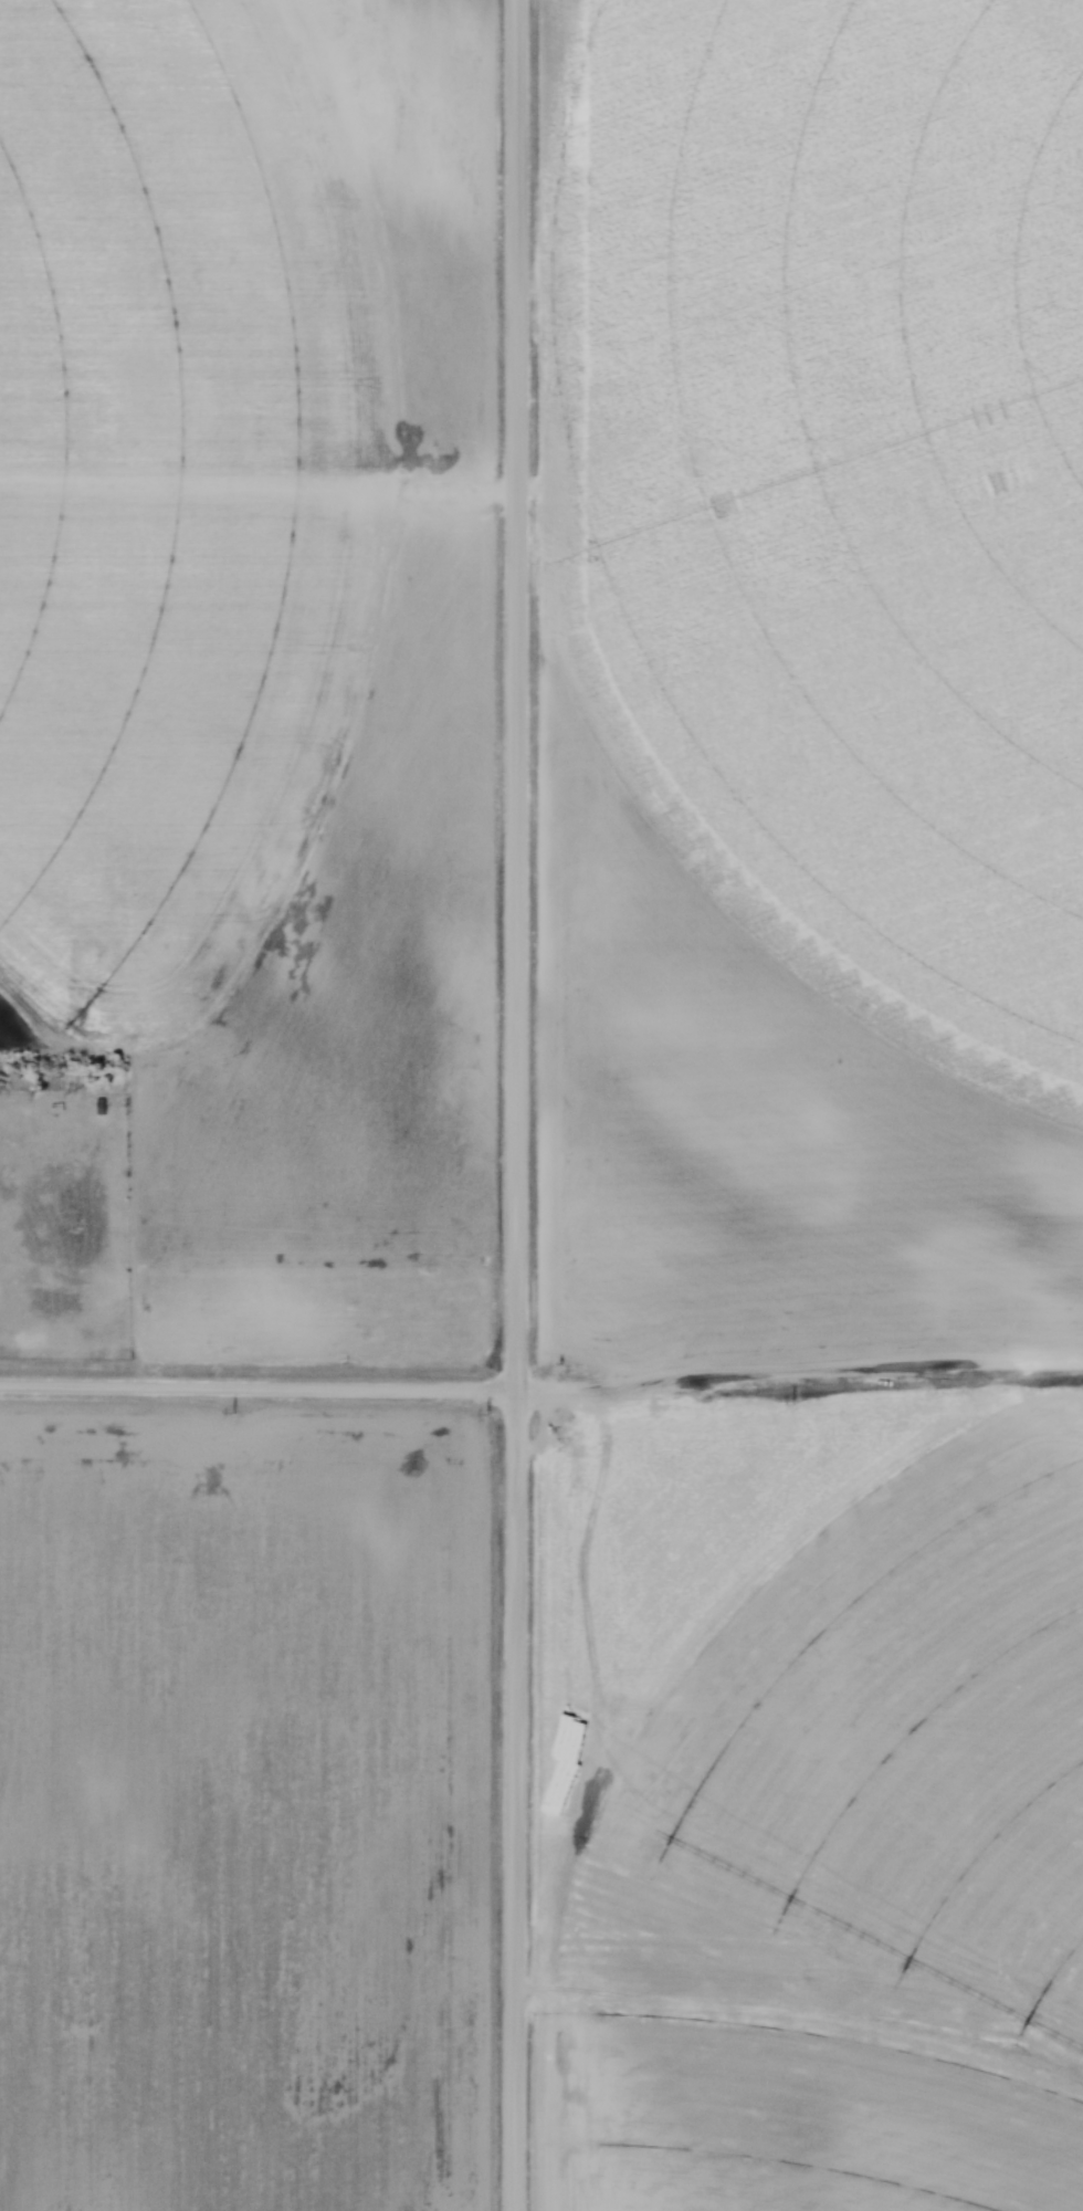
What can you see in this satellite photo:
crop: (261, 645)
crop: (806, 682)
road: (514, 1105)
road: (257, 1389)
crop: (818, 1805)
crop: (251, 1809)

